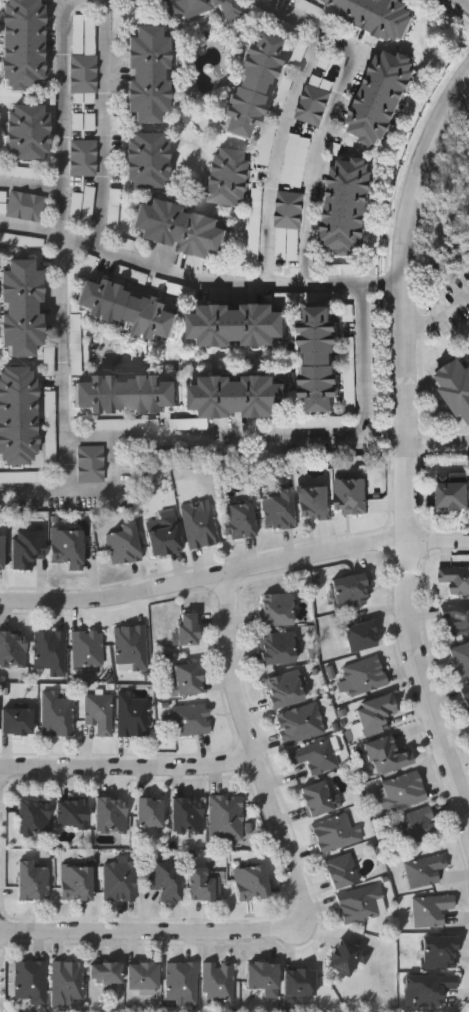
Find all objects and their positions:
road: (468, 0)
building: (198, 7)
building: (376, 14)
building: (23, 43)
building: (84, 59)
building: (147, 72)
building: (251, 83)
building: (381, 95)
building: (315, 100)
road: (62, 107)
road: (332, 113)
road: (103, 124)
building: (28, 130)
road: (278, 151)
building: (84, 158)
building: (148, 159)
building: (265, 159)
building: (296, 159)
building: (229, 175)
road: (30, 186)
building: (21, 203)
building: (348, 203)
building: (88, 204)
building: (77, 205)
building: (256, 223)
building: (289, 225)
building: (180, 227)
road: (217, 279)
road: (393, 279)
building: (21, 306)
road: (407, 307)
building: (127, 308)
road: (439, 311)
building: (239, 323)
building: (321, 356)
road: (64, 359)
building: (49, 363)
building: (350, 368)
building: (456, 385)
building: (127, 392)
building: (240, 394)
building: (18, 414)
building: (323, 421)
building: (120, 424)
road: (289, 435)
road: (438, 435)
building: (91, 464)
road: (116, 485)
building: (453, 495)
building: (352, 496)
building: (315, 503)
building: (280, 510)
building: (239, 521)
building: (200, 526)
building: (165, 538)
building: (123, 544)
building: (28, 548)
building: (67, 548)
building: (2, 552)
road: (234, 575)
building: (455, 579)
building: (350, 590)
building: (276, 610)
building: (455, 619)
building: (187, 629)
building: (361, 636)
building: (88, 648)
building: (132, 648)
building: (279, 648)
building: (13, 649)
building: (51, 652)
building: (460, 659)
building: (366, 676)
road: (425, 679)
building: (187, 680)
building: (285, 690)
building: (466, 695)
building: (99, 713)
building: (57, 715)
building: (376, 715)
building: (132, 716)
building: (191, 720)
building: (17, 722)
building: (301, 725)
road: (255, 752)
building: (387, 756)
building: (315, 757)
road: (128, 766)
building: (402, 793)
building: (320, 798)
building: (150, 813)
building: (72, 814)
building: (112, 816)
building: (187, 816)
building: (34, 818)
building: (226, 819)
building: (418, 826)
building: (336, 834)
building: (342, 871)
building: (426, 871)
building: (166, 880)
building: (32, 881)
building: (120, 881)
building: (77, 883)
building: (252, 883)
building: (204, 886)
building: (362, 904)
building: (432, 911)
road: (153, 932)
building: (440, 953)
building: (347, 957)
building: (106, 974)
building: (143, 977)
building: (264, 979)
building: (31, 983)
building: (219, 983)
building: (68, 984)
building: (182, 984)
building: (299, 987)
building: (427, 990)

